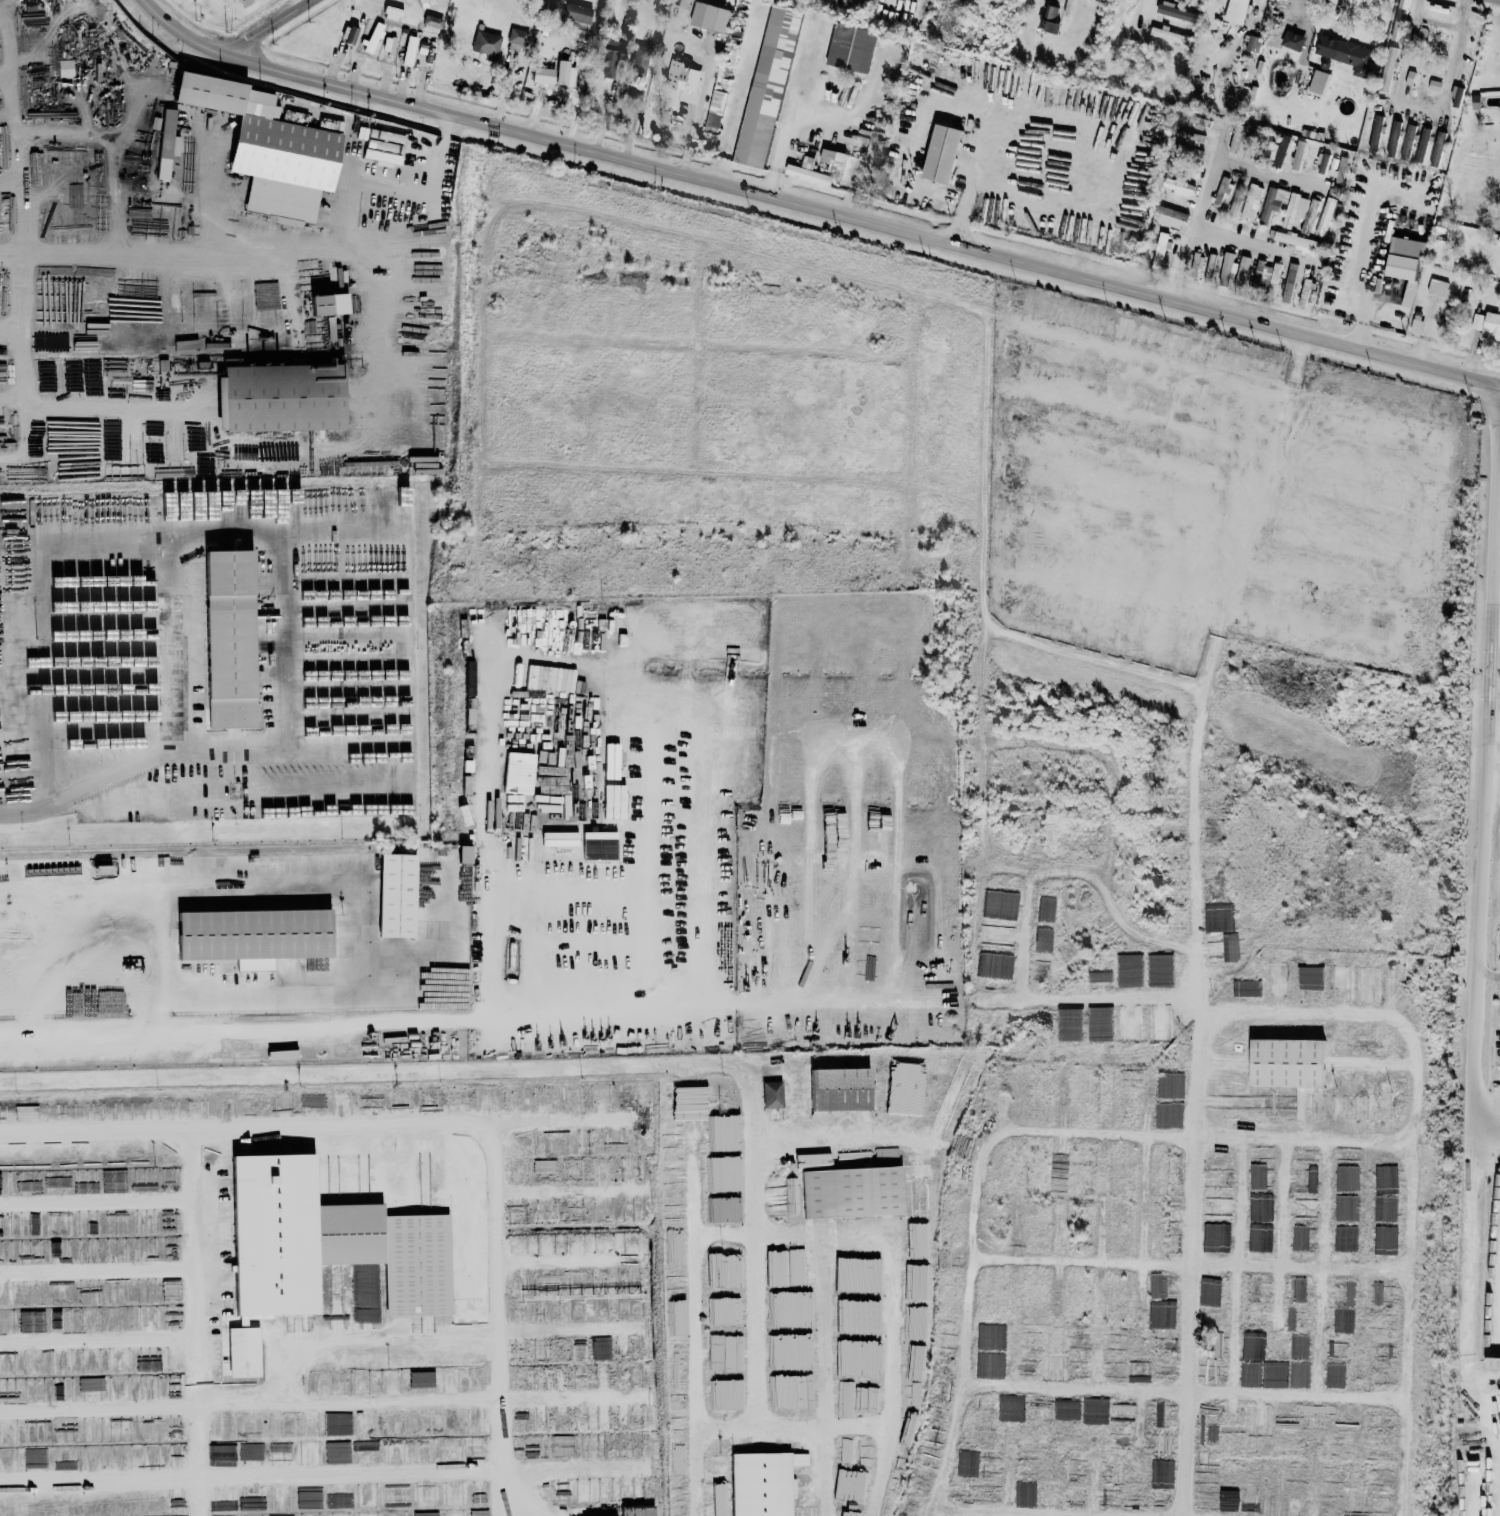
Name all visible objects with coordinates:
building: (190, 0)
road: (301, 5)
building: (567, 11)
building: (1236, 11)
building: (393, 12)
building: (1176, 12)
building: (1050, 13)
building: (709, 16)
road: (1305, 17)
building: (1399, 19)
building: (432, 22)
road: (1439, 22)
road: (278, 28)
building: (1052, 28)
building: (1168, 35)
building: (517, 39)
building: (1292, 41)
building: (388, 44)
building: (486, 44)
building: (850, 47)
building: (409, 50)
building: (1346, 54)
building: (606, 55)
building: (638, 62)
building: (1427, 64)
building: (66, 68)
building: (1388, 68)
building: (551, 73)
building: (682, 76)
building: (1409, 77)
building: (1317, 82)
building: (767, 85)
building: (1434, 85)
building: (1456, 95)
road: (579, 97)
building: (1475, 101)
road: (1425, 105)
building: (714, 110)
road: (17, 130)
building: (1375, 132)
building: (1393, 137)
building: (1408, 140)
building: (166, 143)
building: (267, 146)
building: (1421, 147)
building: (1437, 148)
building: (1274, 151)
building: (941, 152)
building: (1297, 155)
building: (833, 159)
building: (807, 171)
road: (1212, 176)
road: (976, 183)
building: (1179, 186)
building: (1221, 192)
road: (432, 194)
building: (1272, 201)
building: (1235, 203)
road: (816, 207)
building: (1295, 209)
building: (1170, 216)
road: (1249, 242)
road: (291, 244)
building: (1160, 250)
road: (1369, 255)
building: (1404, 263)
building: (1226, 268)
building: (1242, 269)
building: (1259, 270)
building: (1289, 282)
building: (1437, 287)
road: (24, 288)
building: (318, 304)
road: (975, 312)
road: (12, 323)
building: (1416, 325)
building: (1491, 326)
road: (700, 346)
building: (2, 369)
road: (483, 387)
road: (26, 393)
road: (98, 393)
building: (282, 397)
road: (699, 401)
road: (1497, 401)
road: (1499, 420)
road: (911, 438)
road: (1223, 442)
road: (209, 456)
road: (14, 465)
road: (695, 472)
road: (1222, 504)
road: (217, 528)
road: (1222, 566)
road: (34, 606)
road: (1217, 625)
road: (998, 635)
building: (229, 639)
road: (40, 738)
road: (914, 741)
road: (220, 748)
building: (518, 773)
road: (392, 792)
road: (903, 801)
road: (25, 813)
road: (687, 814)
building: (1212, 828)
road: (484, 846)
building: (463, 854)
road: (796, 866)
road: (330, 889)
building: (396, 895)
building: (1001, 905)
building: (1499, 907)
building: (1045, 909)
building: (252, 936)
road: (1025, 937)
road: (1202, 948)
building: (994, 965)
road: (1483, 968)
road: (1491, 975)
building: (1098, 978)
road: (1129, 1009)
road: (631, 1015)
building: (1107, 1020)
building: (1128, 1022)
building: (1158, 1022)
road: (22, 1035)
building: (1286, 1063)
road: (560, 1070)
building: (841, 1089)
building: (905, 1089)
building: (951, 1091)
building: (772, 1094)
road: (1490, 1103)
road: (326, 1126)
road: (1098, 1136)
road: (872, 1139)
building: (671, 1140)
building: (720, 1140)
road: (1305, 1140)
road: (1410, 1166)
building: (673, 1175)
building: (852, 1192)
road: (325, 1197)
building: (1385, 1208)
building: (674, 1212)
building: (1262, 1233)
building: (324, 1243)
building: (675, 1247)
road: (976, 1256)
road: (1192, 1260)
road: (579, 1261)
road: (98, 1273)
road: (892, 1279)
building: (675, 1282)
road: (697, 1291)
building: (1209, 1292)
building: (676, 1318)
road: (499, 1319)
road: (199, 1322)
road: (327, 1338)
building: (243, 1352)
building: (676, 1355)
building: (1492, 1364)
road: (830, 1376)
building: (421, 1379)
building: (677, 1390)
building: (725, 1394)
road: (328, 1404)
building: (678, 1424)
road: (798, 1430)
building: (337, 1452)
building: (309, 1454)
building: (678, 1459)
building: (1070, 1465)
road: (328, 1475)
building: (763, 1483)
road: (528, 1493)
building: (678, 1494)
building: (636, 1511)
building: (426, 1514)
building: (849, 1514)
road: (982, 1514)

